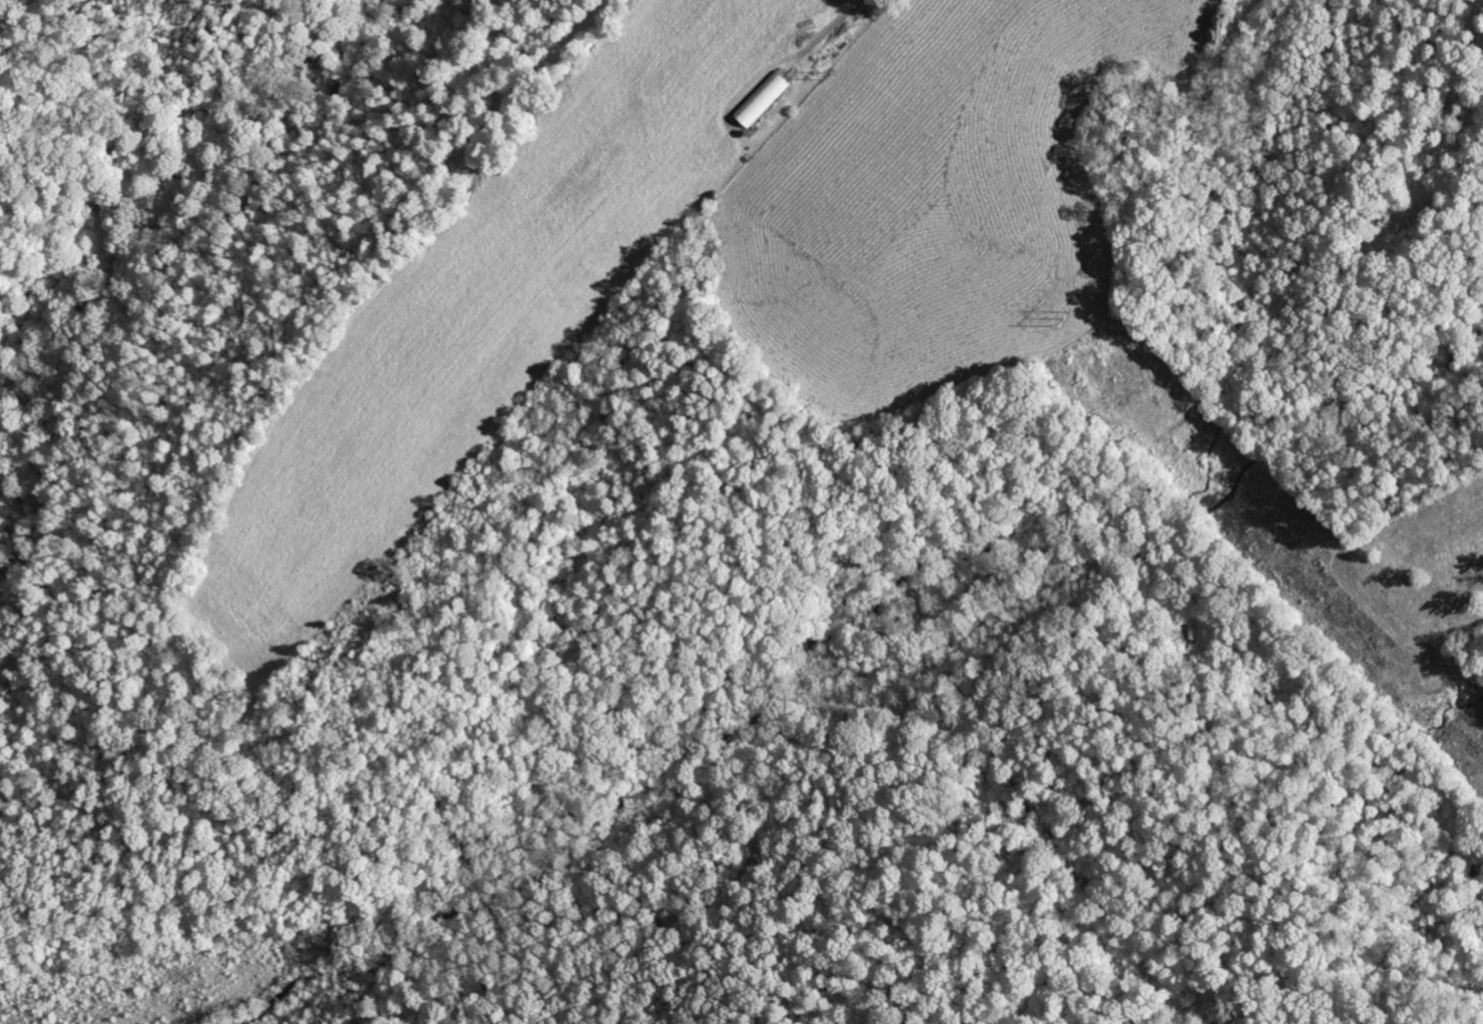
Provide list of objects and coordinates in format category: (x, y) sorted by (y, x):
power tower: (825, 74)
building: (765, 99)
power tower: (1065, 320)

